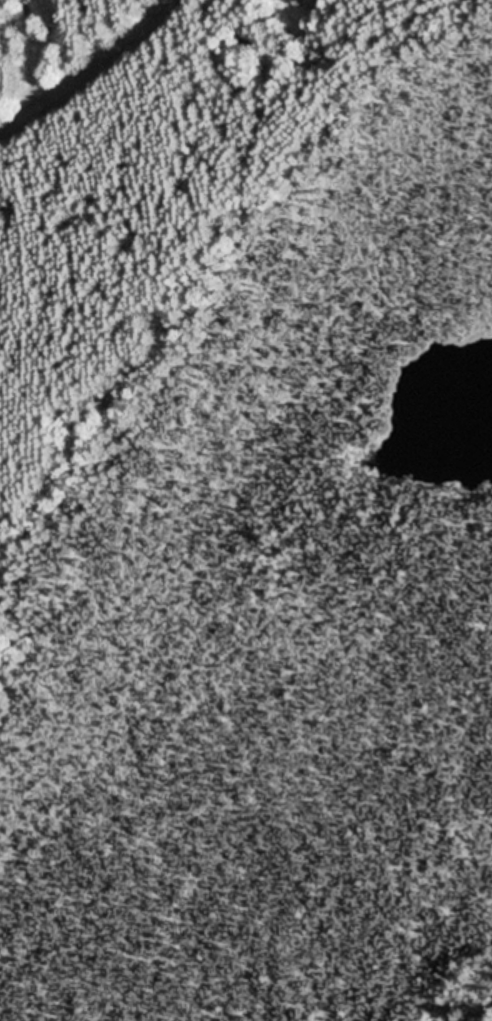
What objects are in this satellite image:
road: (88, 73)

